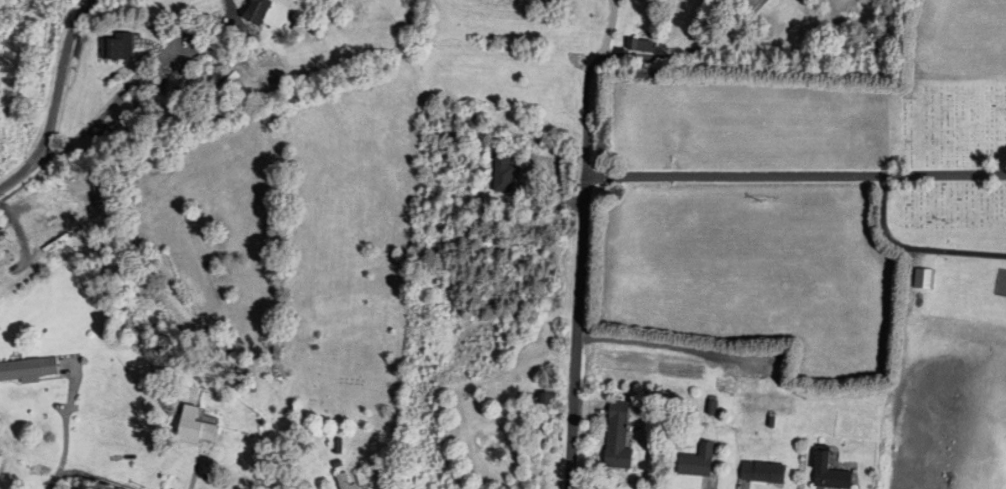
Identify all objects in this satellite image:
building: (260, 11)
road: (234, 18)
building: (643, 46)
building: (120, 47)
road: (631, 58)
road: (63, 74)
building: (225, 88)
road: (124, 89)
park: (941, 156)
road: (22, 174)
building: (508, 176)
road: (795, 177)
building: (99, 197)
building: (38, 220)
building: (57, 244)
road: (914, 248)
building: (6, 259)
building: (925, 279)
road: (576, 331)
building: (29, 371)
building: (198, 428)
building: (620, 438)
building: (699, 462)
road: (90, 473)
building: (765, 473)
building: (831, 474)
building: (365, 479)
building: (344, 482)

